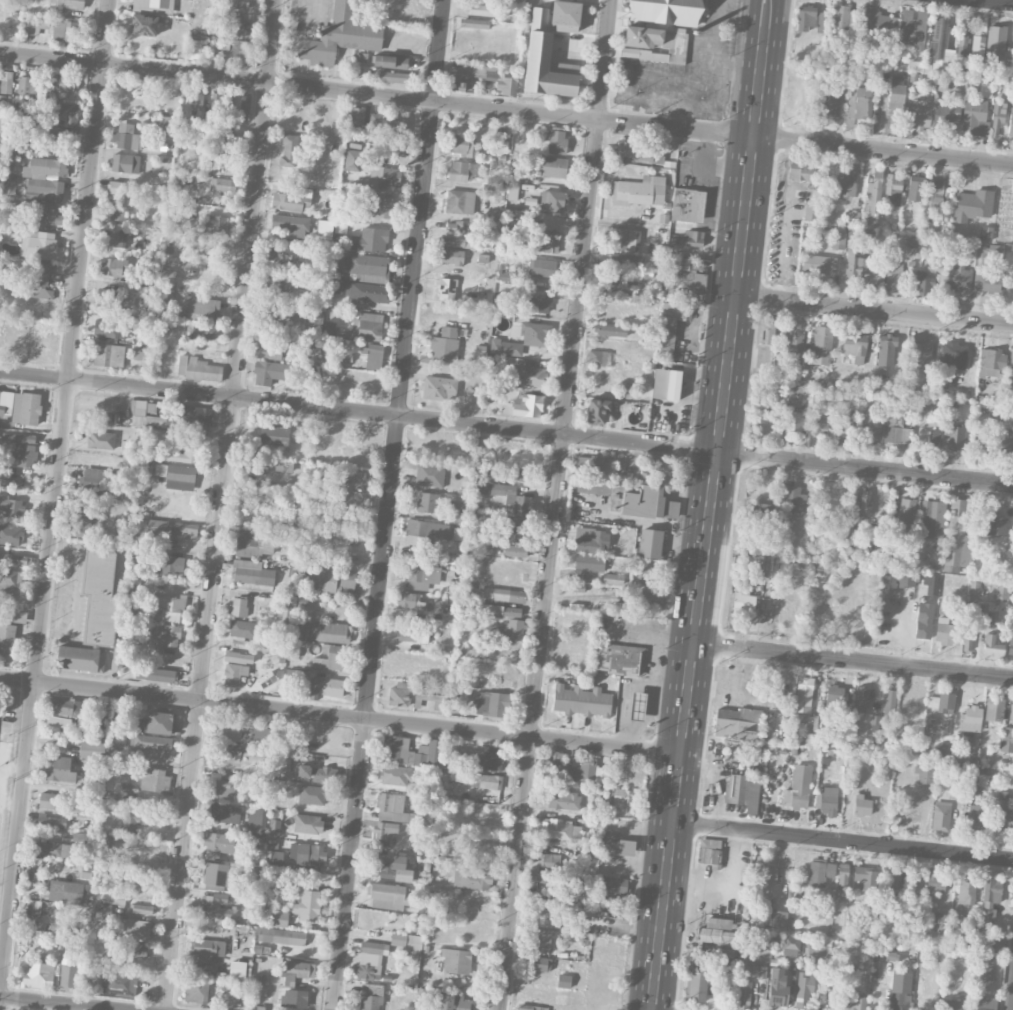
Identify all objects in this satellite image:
road: (1009, 0)
building: (64, 5)
building: (153, 6)
building: (485, 9)
building: (666, 11)
building: (841, 17)
building: (810, 18)
building: (474, 23)
building: (34, 24)
building: (143, 25)
building: (879, 25)
building: (236, 26)
road: (761, 26)
road: (771, 26)
building: (913, 27)
building: (65, 31)
building: (340, 36)
building: (963, 38)
building: (996, 42)
building: (654, 44)
building: (940, 44)
building: (538, 47)
building: (195, 49)
building: (233, 51)
road: (709, 54)
building: (391, 62)
road: (614, 70)
building: (394, 77)
building: (458, 78)
building: (495, 78)
road: (623, 81)
building: (7, 82)
building: (30, 82)
building: (61, 83)
building: (986, 89)
building: (197, 97)
road: (716, 97)
building: (896, 99)
building: (859, 103)
building: (218, 104)
building: (245, 104)
building: (828, 104)
road: (506, 109)
building: (918, 114)
building: (946, 114)
building: (357, 115)
building: (61, 116)
building: (975, 118)
building: (997, 118)
building: (1011, 123)
building: (387, 124)
building: (1, 125)
building: (127, 137)
building: (221, 137)
building: (557, 141)
building: (463, 146)
building: (500, 146)
building: (289, 150)
building: (635, 150)
building: (221, 159)
building: (354, 160)
building: (125, 163)
building: (548, 166)
building: (464, 170)
building: (801, 172)
building: (384, 177)
building: (44, 179)
building: (186, 182)
building: (846, 182)
road: (699, 183)
building: (222, 184)
building: (892, 187)
building: (120, 188)
building: (915, 188)
building: (512, 191)
building: (639, 191)
building: (934, 193)
building: (292, 199)
building: (552, 201)
building: (460, 202)
building: (872, 202)
building: (1005, 204)
building: (687, 205)
building: (972, 205)
building: (378, 207)
building: (118, 209)
building: (45, 213)
building: (809, 213)
building: (852, 218)
building: (215, 223)
road: (707, 224)
building: (291, 226)
building: (936, 228)
building: (324, 229)
building: (516, 230)
building: (986, 233)
building: (114, 238)
building: (625, 238)
building: (692, 238)
building: (373, 239)
building: (838, 240)
building: (452, 241)
building: (544, 243)
building: (41, 244)
building: (207, 247)
building: (991, 249)
building: (279, 253)
building: (451, 256)
building: (626, 260)
building: (696, 264)
building: (818, 264)
building: (856, 266)
building: (111, 267)
building: (368, 268)
building: (541, 268)
building: (504, 274)
building: (877, 274)
building: (893, 276)
building: (958, 278)
building: (40, 280)
building: (278, 282)
building: (923, 282)
building: (986, 282)
building: (446, 289)
building: (673, 289)
building: (359, 292)
building: (112, 298)
building: (540, 303)
building: (163, 304)
road: (875, 308)
building: (203, 309)
building: (278, 309)
building: (677, 310)
building: (291, 324)
building: (367, 325)
building: (110, 329)
building: (610, 330)
building: (200, 331)
building: (768, 331)
building: (535, 334)
building: (262, 338)
building: (793, 343)
building: (444, 344)
building: (821, 345)
building: (854, 346)
building: (505, 347)
building: (886, 350)
building: (267, 351)
building: (919, 351)
building: (142, 354)
building: (108, 355)
building: (953, 355)
building: (372, 356)
building: (597, 357)
building: (992, 359)
building: (1011, 368)
building: (198, 369)
building: (270, 372)
building: (530, 376)
building: (666, 384)
building: (439, 388)
building: (6, 403)
building: (527, 405)
building: (26, 408)
building: (597, 410)
building: (192, 413)
building: (145, 416)
building: (994, 416)
building: (793, 420)
building: (173, 423)
building: (869, 425)
road: (506, 427)
building: (818, 427)
building: (896, 429)
building: (274, 435)
building: (932, 436)
building: (954, 437)
building: (21, 438)
building: (101, 440)
building: (1003, 444)
building: (24, 454)
building: (185, 454)
building: (254, 464)
building: (593, 464)
building: (663, 468)
building: (429, 474)
building: (180, 477)
building: (523, 477)
building: (97, 481)
building: (592, 486)
building: (490, 488)
road: (55, 489)
building: (792, 498)
building: (428, 502)
building: (648, 503)
building: (864, 503)
road: (219, 504)
building: (517, 504)
road: (388, 505)
road: (556, 505)
building: (10, 506)
building: (457, 511)
building: (906, 513)
building: (767, 515)
building: (347, 517)
building: (518, 520)
building: (934, 520)
building: (79, 523)
building: (996, 526)
building: (172, 529)
building: (426, 531)
road: (706, 531)
building: (514, 533)
building: (10, 534)
building: (345, 534)
building: (457, 534)
building: (958, 536)
building: (591, 540)
building: (249, 543)
building: (650, 543)
building: (515, 551)
building: (590, 562)
building: (168, 565)
building: (251, 573)
building: (421, 576)
building: (613, 578)
building: (311, 580)
building: (897, 580)
building: (336, 581)
building: (9, 582)
building: (930, 585)
building: (1001, 590)
building: (972, 591)
building: (503, 595)
building: (99, 599)
building: (653, 599)
building: (408, 600)
building: (742, 605)
building: (238, 607)
building: (167, 608)
building: (500, 610)
building: (983, 611)
building: (13, 614)
building: (923, 621)
building: (243, 629)
building: (510, 630)
building: (329, 632)
building: (945, 632)
building: (412, 633)
building: (167, 636)
building: (7, 638)
building: (967, 640)
building: (1010, 641)
building: (992, 647)
building: (239, 657)
building: (330, 657)
building: (80, 658)
building: (617, 658)
road: (853, 660)
building: (157, 674)
building: (234, 674)
building: (296, 676)
building: (314, 687)
building: (333, 687)
building: (430, 693)
building: (398, 694)
building: (803, 696)
building: (834, 699)
building: (861, 699)
building: (581, 700)
building: (942, 702)
building: (492, 704)
building: (889, 704)
building: (637, 706)
building: (69, 707)
building: (994, 709)
road: (340, 714)
building: (970, 719)
building: (156, 723)
building: (739, 725)
building: (236, 730)
building: (1006, 739)
building: (118, 741)
building: (153, 746)
building: (395, 748)
building: (92, 750)
building: (226, 752)
building: (428, 753)
building: (487, 760)
building: (456, 763)
building: (59, 769)
building: (314, 773)
building: (923, 774)
building: (395, 775)
building: (152, 779)
building: (480, 780)
building: (798, 787)
building: (222, 789)
building: (743, 792)
building: (311, 795)
building: (624, 797)
building: (828, 799)
building: (563, 800)
building: (54, 801)
building: (862, 805)
building: (390, 807)
building: (1002, 812)
building: (224, 813)
building: (976, 814)
building: (941, 816)
building: (139, 817)
building: (54, 822)
building: (256, 822)
building: (308, 824)
building: (274, 827)
building: (559, 829)
building: (385, 832)
road: (843, 841)
building: (219, 843)
building: (619, 846)
building: (53, 849)
building: (707, 852)
building: (297, 855)
building: (549, 860)
building: (392, 867)
building: (820, 872)
building: (215, 874)
building: (767, 875)
building: (548, 876)
building: (889, 877)
building: (866, 878)
building: (472, 880)
building: (936, 882)
building: (842, 884)
building: (916, 884)
building: (613, 885)
building: (966, 891)
building: (991, 891)
building: (69, 892)
building: (388, 896)
building: (108, 906)
building: (307, 906)
building: (215, 907)
building: (141, 909)
building: (279, 918)
building: (775, 918)
building: (939, 921)
building: (718, 923)
building: (133, 929)
building: (282, 936)
building: (541, 939)
building: (787, 942)
building: (407, 943)
building: (374, 947)
building: (207, 949)
building: (135, 950)
building: (817, 953)
building: (455, 960)
building: (537, 963)
building: (983, 968)
building: (239, 970)
building: (297, 971)
building: (366, 971)
building: (68, 972)
building: (36, 974)
building: (563, 981)
building: (119, 982)
building: (696, 986)
building: (777, 986)
building: (196, 991)
building: (803, 991)
building: (743, 994)
building: (370, 997)
building: (294, 998)
building: (899, 1001)
building: (454, 1002)
road: (58, 1003)
building: (982, 1003)
building: (954, 1005)
building: (526, 1007)

